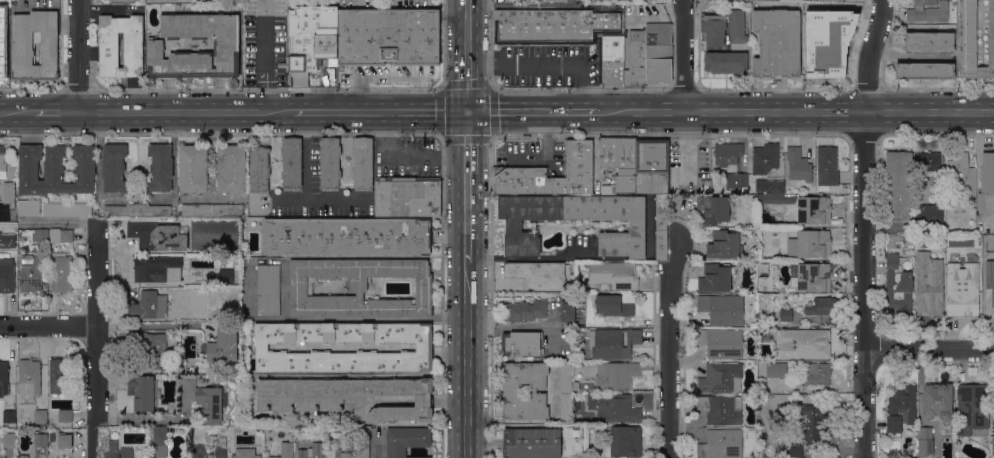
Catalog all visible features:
building: (123, 0)
building: (556, 0)
building: (728, 0)
building: (106, 1)
building: (6, 3)
road: (542, 6)
building: (825, 11)
building: (928, 11)
building: (553, 26)
building: (738, 26)
road: (466, 29)
building: (714, 29)
building: (658, 34)
building: (974, 41)
building: (929, 42)
building: (366, 43)
parking lot: (366, 43)
building: (226, 44)
building: (777, 44)
building: (2, 45)
building: (20, 47)
building: (133, 49)
parking lot: (263, 49)
building: (658, 52)
road: (77, 56)
road: (686, 56)
building: (636, 58)
building: (611, 59)
road: (523, 60)
road: (263, 61)
building: (726, 62)
parking lot: (546, 64)
building: (658, 70)
building: (924, 70)
road: (466, 85)
road: (488, 85)
road: (579, 87)
traffic signals: (466, 110)
road: (15, 111)
road: (54, 111)
road: (183, 111)
road: (378, 111)
road: (531, 111)
road: (795, 113)
road: (381, 134)
road: (687, 144)
road: (545, 146)
road: (136, 149)
building: (727, 153)
road: (307, 155)
parking lot: (533, 155)
parking lot: (405, 157)
road: (402, 158)
building: (764, 158)
building: (928, 160)
building: (620, 161)
building: (2, 163)
building: (291, 163)
building: (361, 163)
building: (329, 164)
building: (798, 164)
road: (137, 166)
building: (652, 167)
building: (827, 167)
building: (114, 168)
building: (160, 168)
building: (192, 168)
building: (231, 168)
building: (259, 169)
building: (55, 170)
building: (963, 171)
building: (521, 172)
building: (735, 180)
building: (986, 183)
road: (466, 186)
building: (898, 186)
building: (775, 187)
building: (938, 190)
building: (8, 193)
building: (407, 196)
road: (319, 198)
building: (776, 199)
building: (29, 207)
building: (713, 208)
building: (66, 209)
building: (121, 210)
building: (154, 210)
building: (212, 210)
building: (813, 210)
building: (267, 213)
building: (930, 214)
road: (47, 222)
building: (514, 226)
building: (661, 228)
road: (867, 228)
building: (40, 235)
building: (61, 235)
building: (345, 236)
building: (150, 237)
building: (892, 240)
building: (909, 240)
building: (813, 243)
building: (724, 245)
road: (671, 262)
building: (150, 268)
building: (61, 272)
building: (30, 273)
building: (538, 273)
building: (6, 274)
building: (224, 275)
building: (613, 276)
building: (813, 277)
building: (716, 278)
building: (179, 280)
building: (929, 284)
building: (898, 286)
building: (357, 287)
building: (962, 289)
building: (268, 290)
building: (988, 297)
building: (615, 305)
building: (148, 306)
building: (825, 308)
building: (722, 309)
building: (525, 310)
building: (567, 312)
building: (786, 314)
road: (154, 324)
road: (48, 327)
road: (516, 327)
road: (97, 340)
building: (612, 342)
building: (721, 342)
building: (521, 343)
building: (802, 343)
building: (223, 346)
building: (424, 347)
building: (150, 350)
road: (931, 358)
road: (469, 359)
building: (776, 370)
road: (671, 372)
building: (817, 374)
building: (616, 375)
building: (61, 376)
building: (721, 377)
building: (3, 378)
building: (28, 380)
building: (512, 390)
building: (565, 392)
building: (143, 393)
building: (347, 396)
building: (936, 397)
building: (211, 403)
building: (614, 407)
building: (721, 409)
building: (901, 409)
building: (972, 409)
building: (41, 415)
building: (64, 415)
building: (9, 416)
road: (161, 421)
building: (25, 422)
building: (946, 428)
building: (808, 431)
building: (41, 439)
building: (9, 440)
building: (65, 440)
building: (406, 440)
building: (160, 441)
building: (363, 441)
building: (622, 441)
building: (927, 442)
building: (531, 443)
building: (721, 444)
building: (267, 445)
building: (221, 451)
building: (311, 451)
building: (197, 452)
building: (119, 453)
building: (249, 454)
building: (342, 454)
building: (22, 456)
building: (277, 457)

